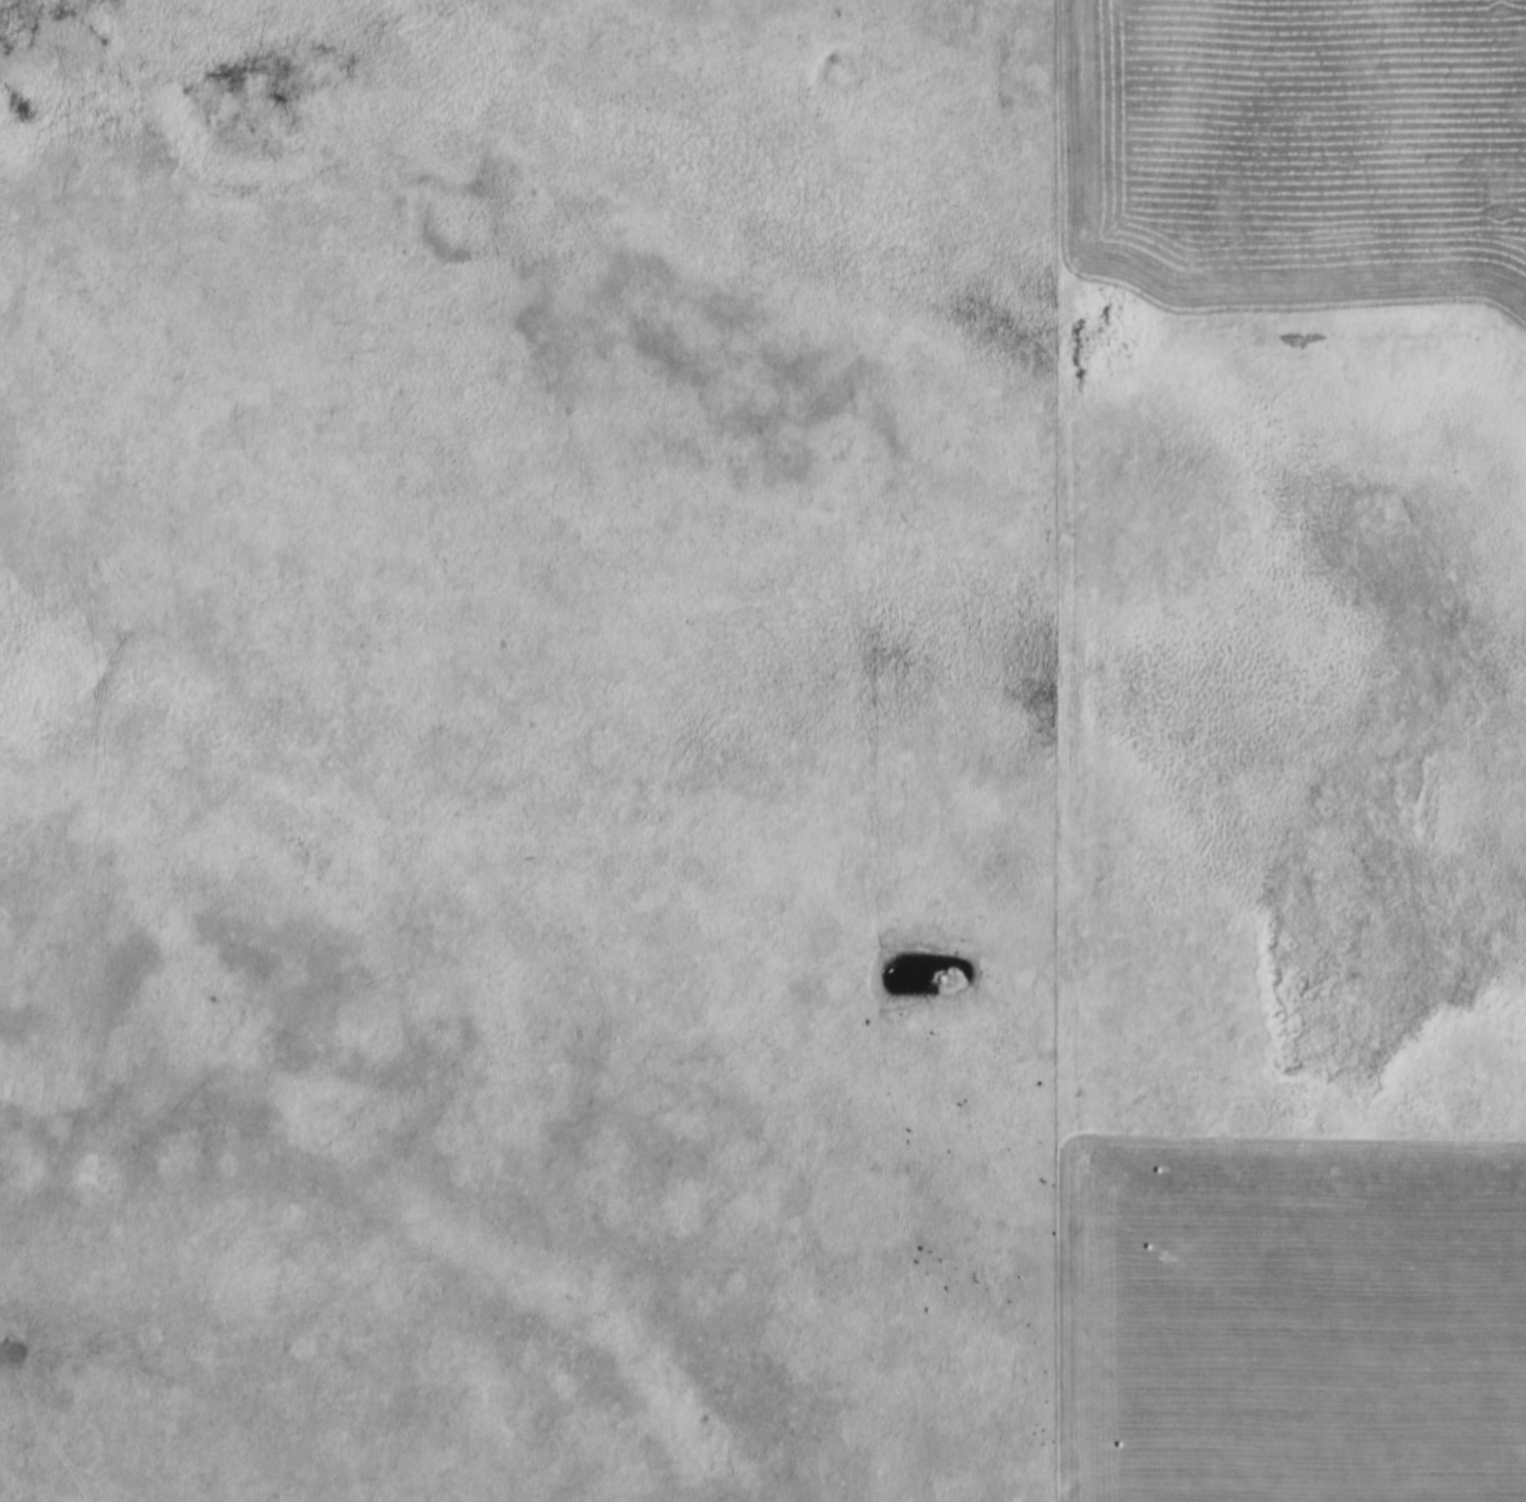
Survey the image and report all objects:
road: (1062, 751)

